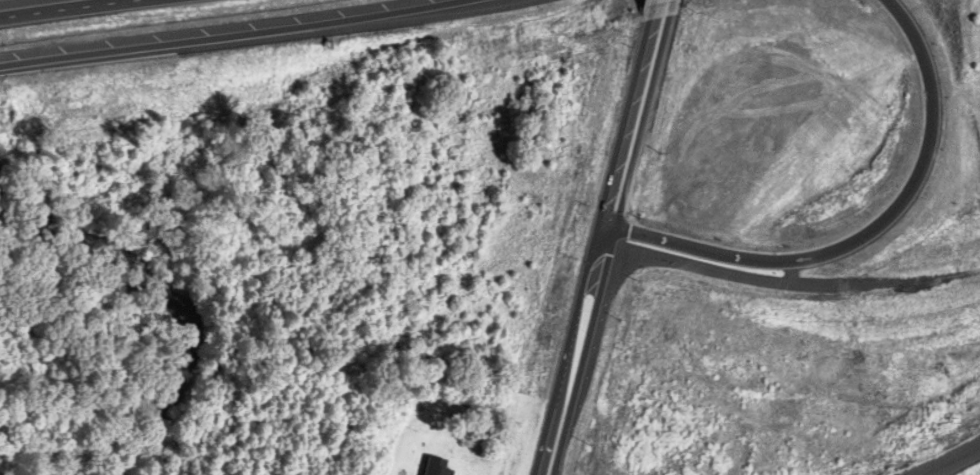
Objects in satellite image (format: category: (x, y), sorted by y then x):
road: (69, 8)
road: (671, 8)
road: (649, 11)
road: (222, 33)
road: (623, 129)
road: (859, 234)
traffic signals: (600, 236)
road: (617, 247)
building: (727, 266)
road: (570, 355)
road: (949, 460)
building: (436, 467)

